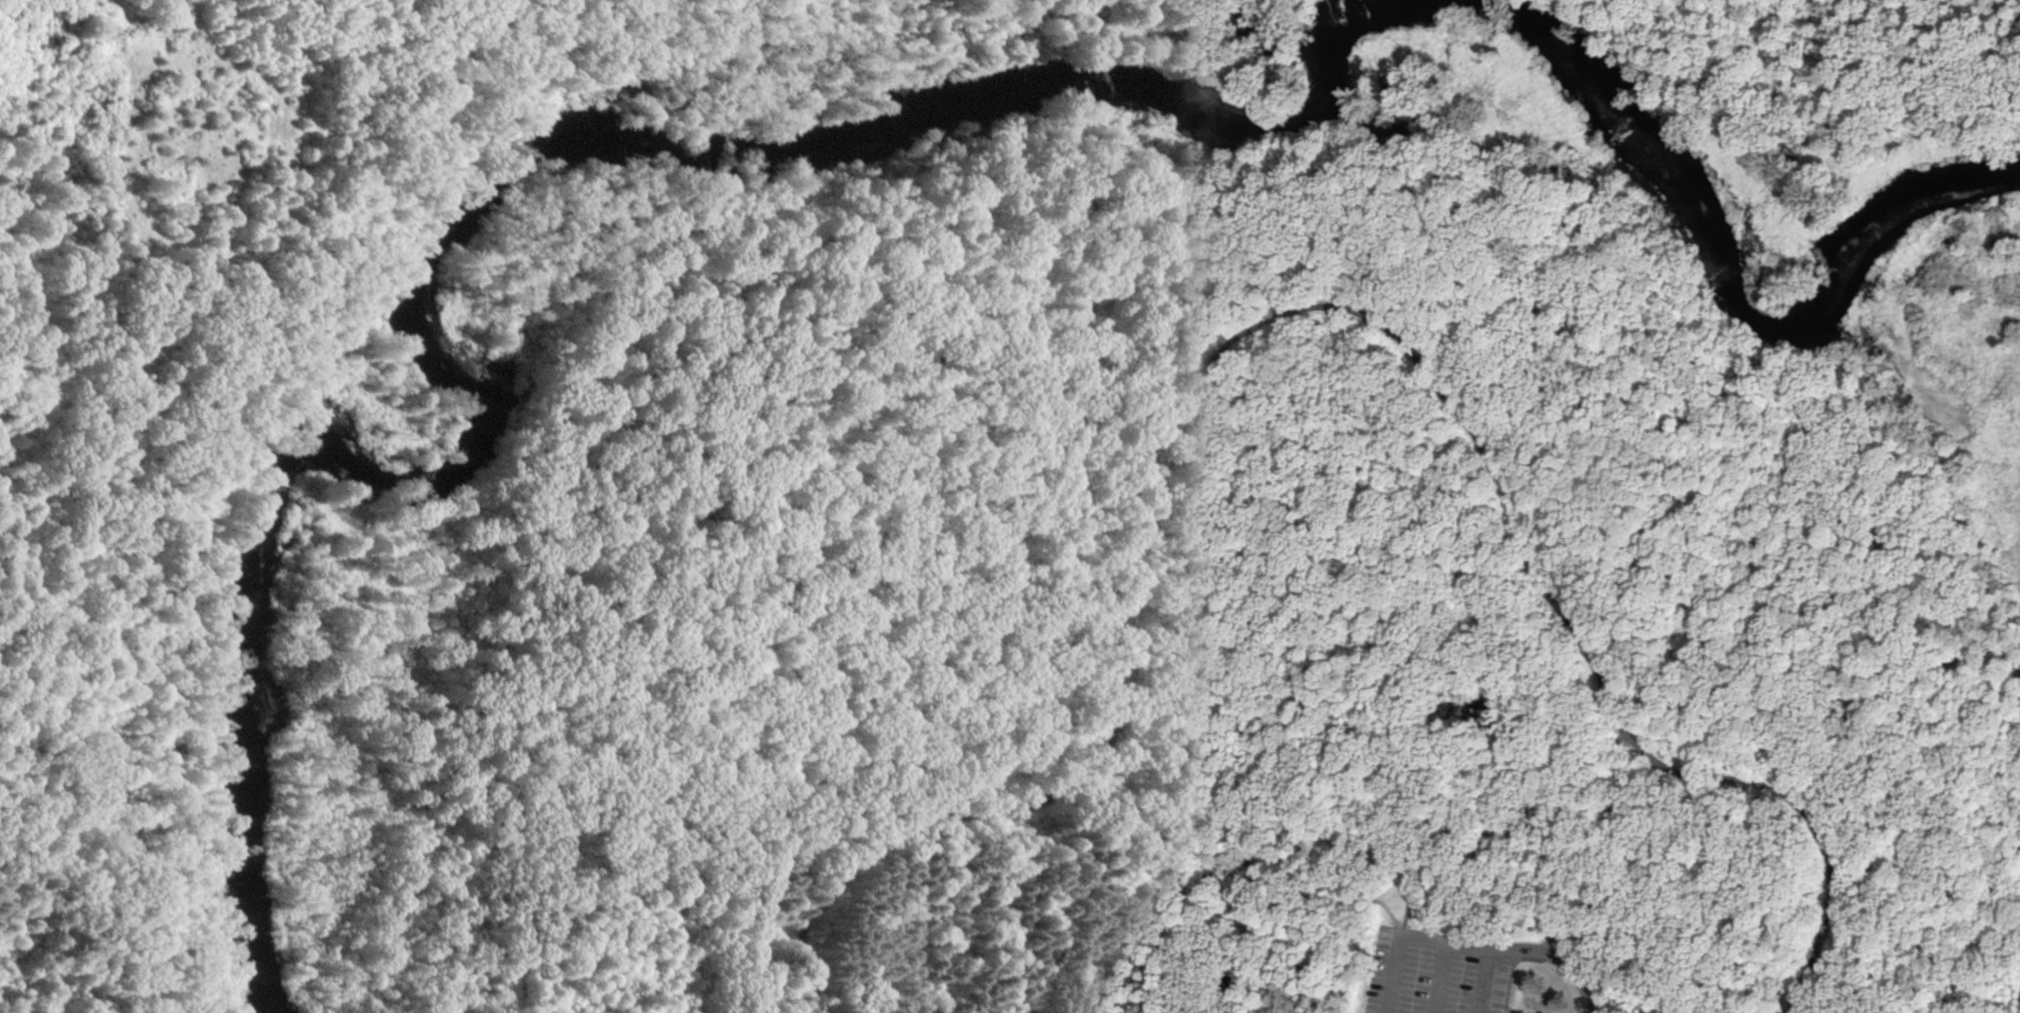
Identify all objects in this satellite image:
road: (968, 214)
river: (465, 218)
river: (1716, 267)
road: (1305, 311)
road: (263, 418)
park: (1010, 506)
road: (1608, 849)
road: (1287, 889)
building: (1408, 891)
building: (1414, 892)
road: (1406, 916)
road: (1168, 924)
road: (1404, 936)
road: (1062, 944)
road: (1556, 957)
parking lot: (1437, 972)
road: (1996, 977)
road: (1438, 978)
road: (1483, 982)
road: (1501, 1008)

